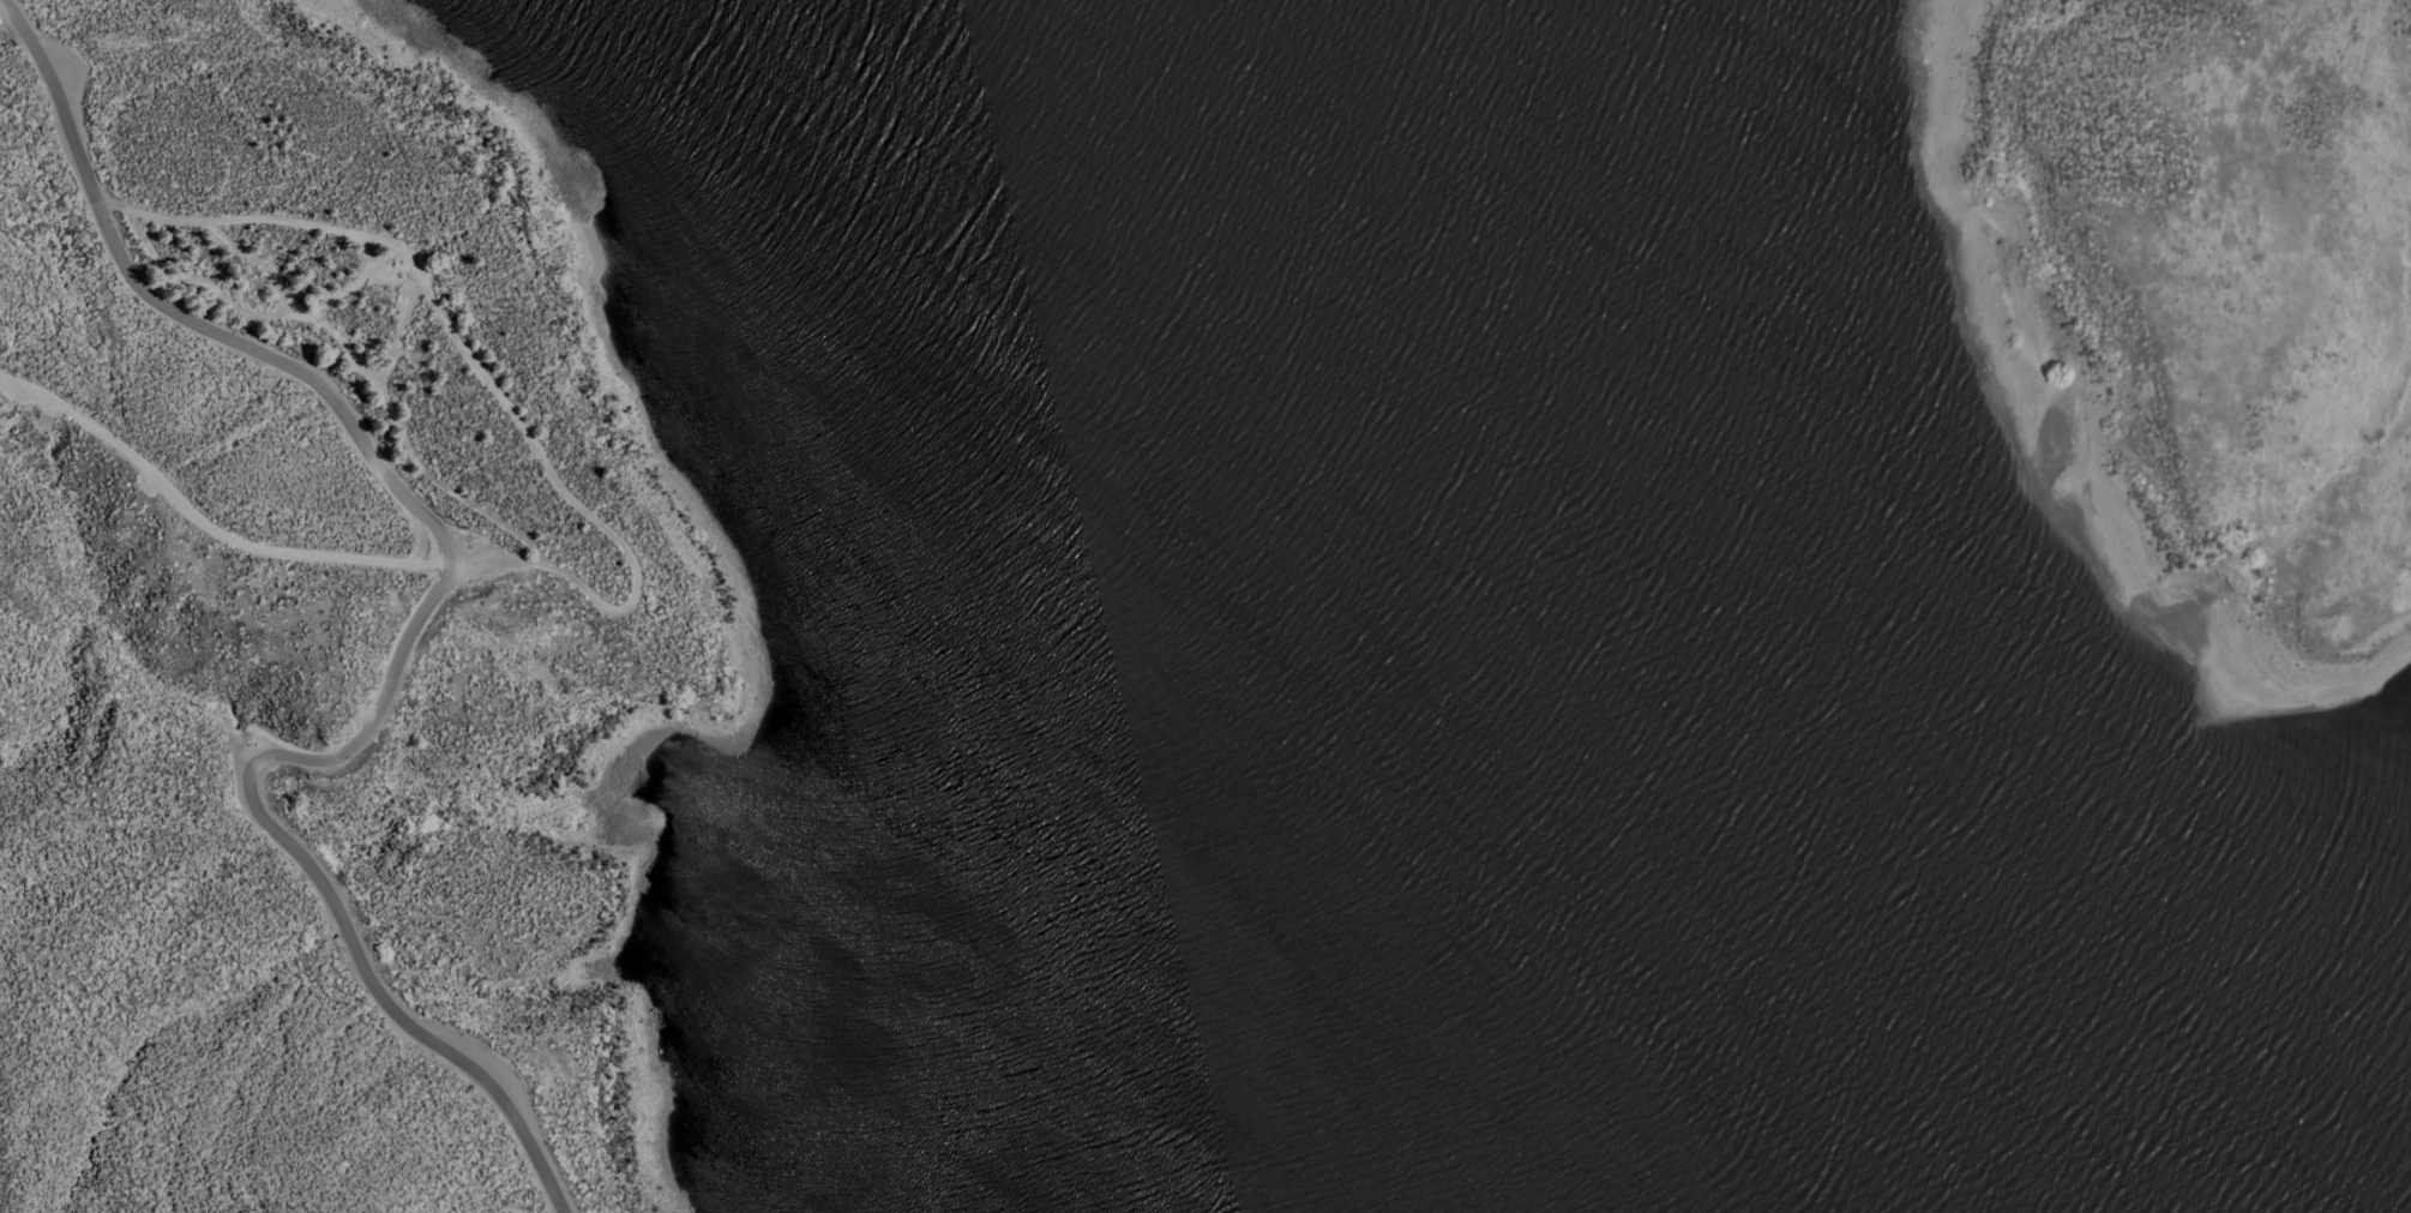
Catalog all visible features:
road: (432, 612)

